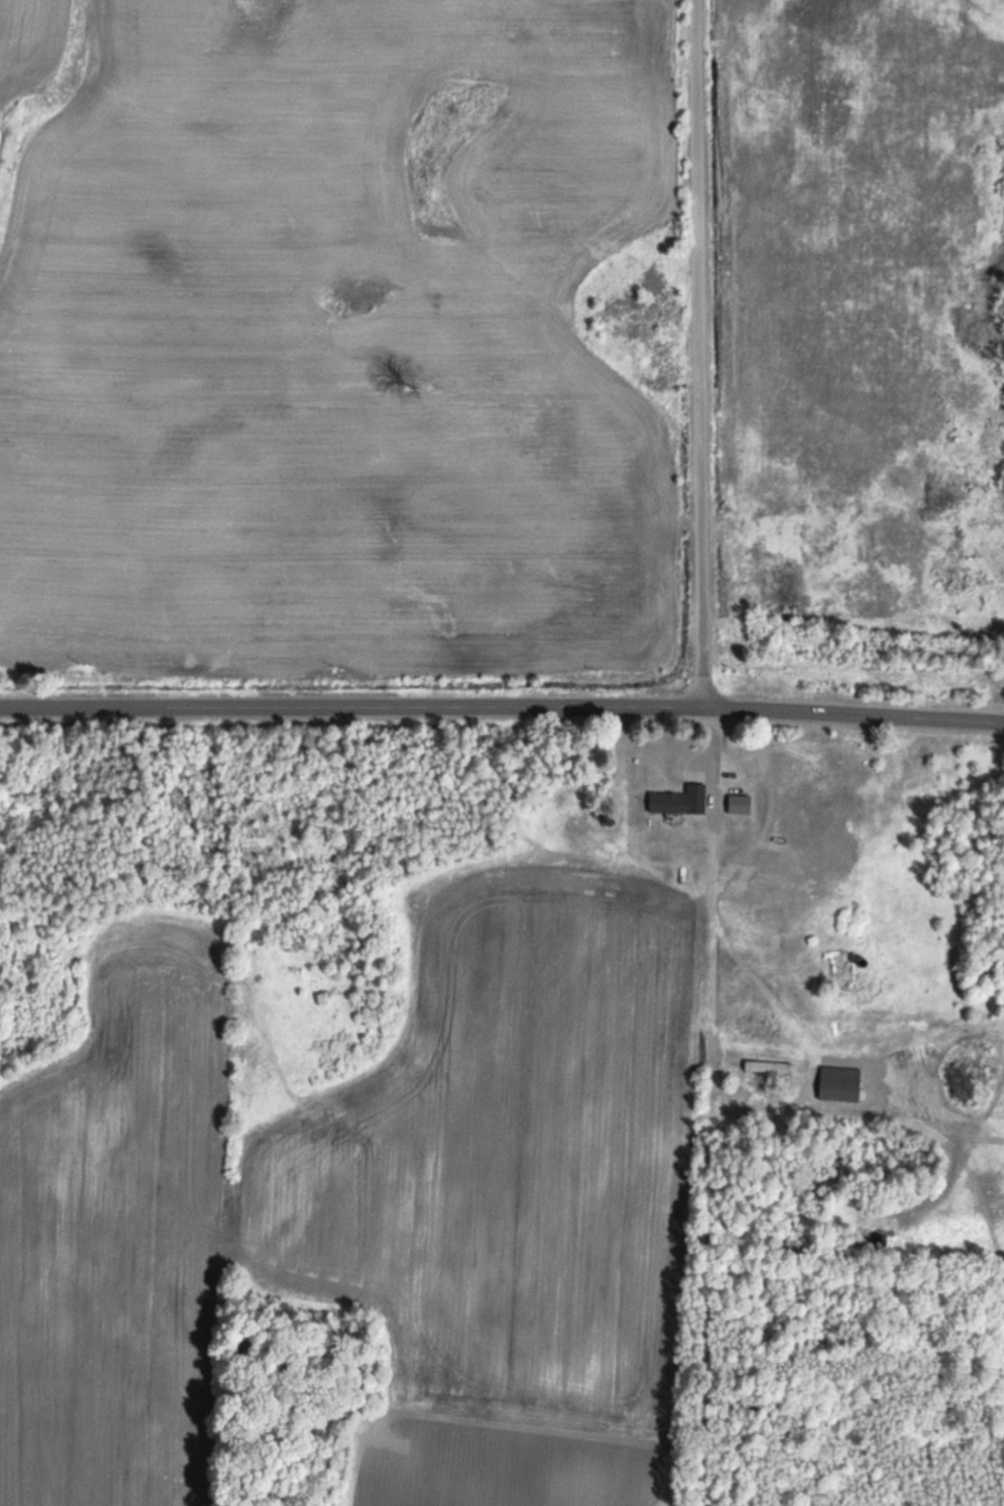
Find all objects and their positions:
road: (695, 353)
road: (502, 706)
building: (666, 801)
building: (760, 1065)
building: (836, 1087)

